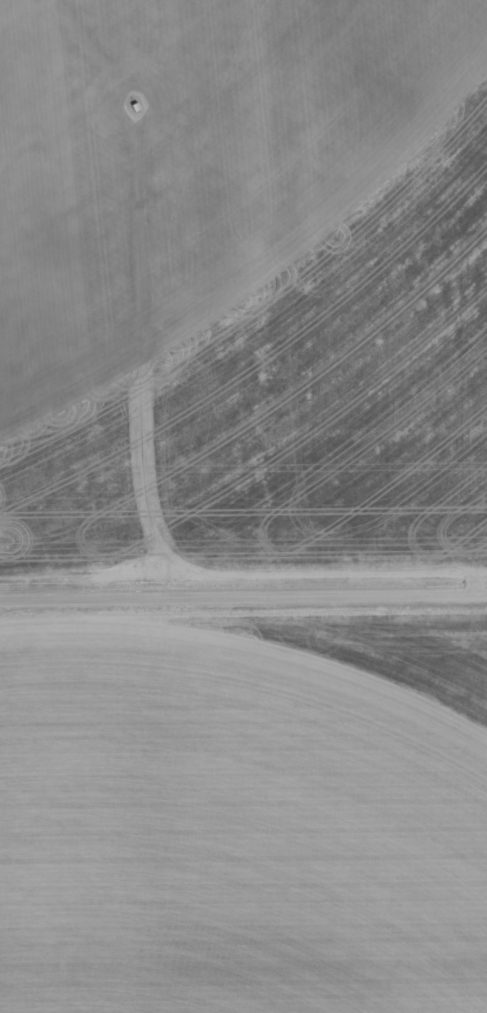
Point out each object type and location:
road: (243, 594)
crop: (224, 882)

